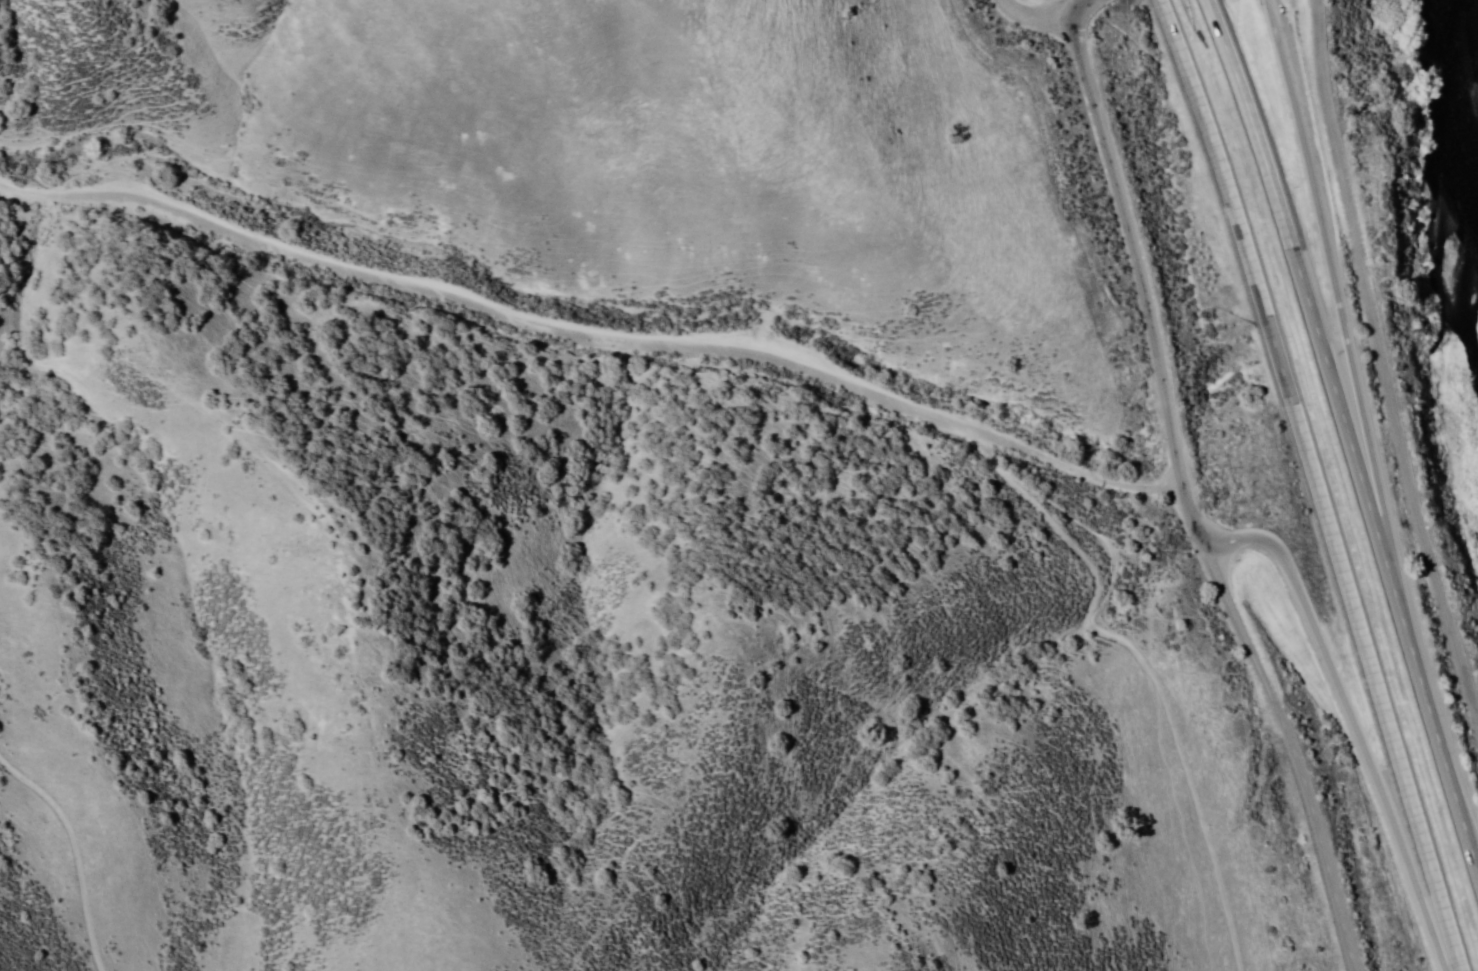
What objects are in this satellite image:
road: (1066, 6)
road: (1082, 6)
road: (1037, 11)
road: (1142, 278)
road: (1341, 307)
road: (589, 338)
road: (1382, 365)
road: (1346, 436)
road: (1316, 482)
road: (1352, 727)
road: (1291, 754)

